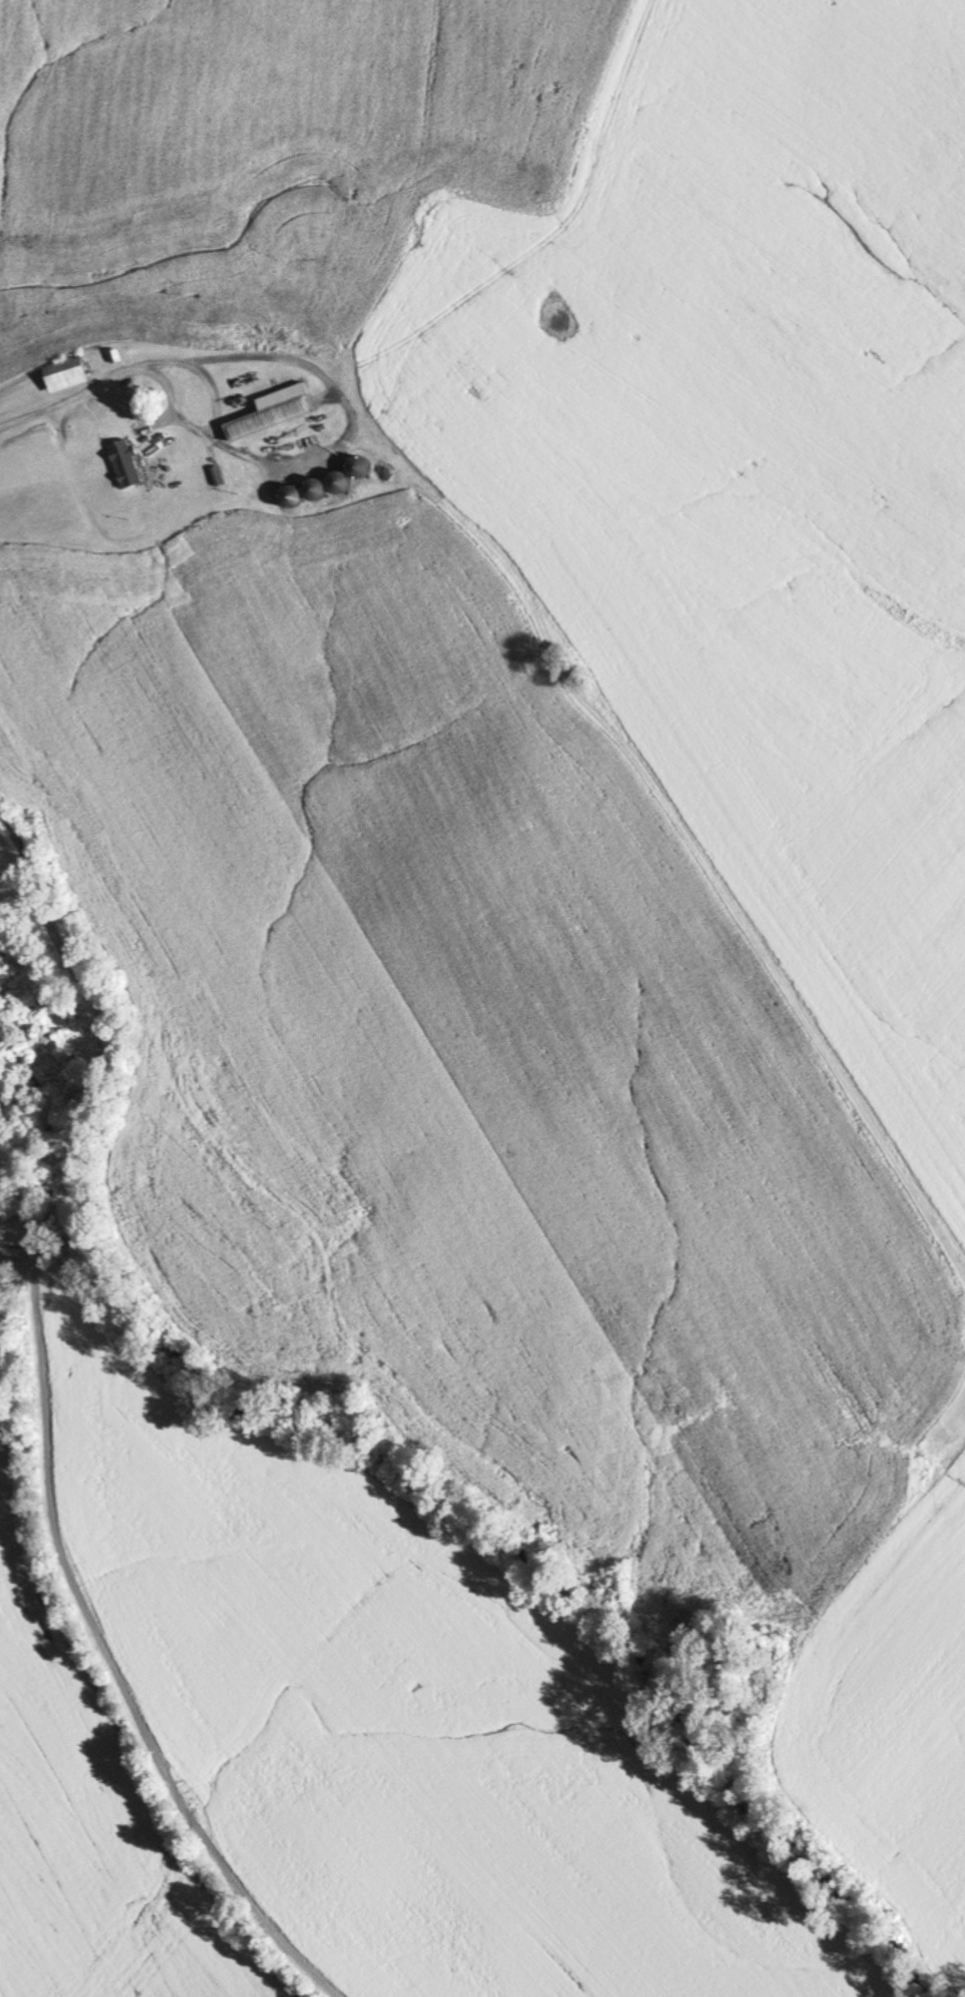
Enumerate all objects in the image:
building: (70, 375)
road: (20, 388)
building: (277, 413)
building: (129, 465)
road: (50, 1437)

